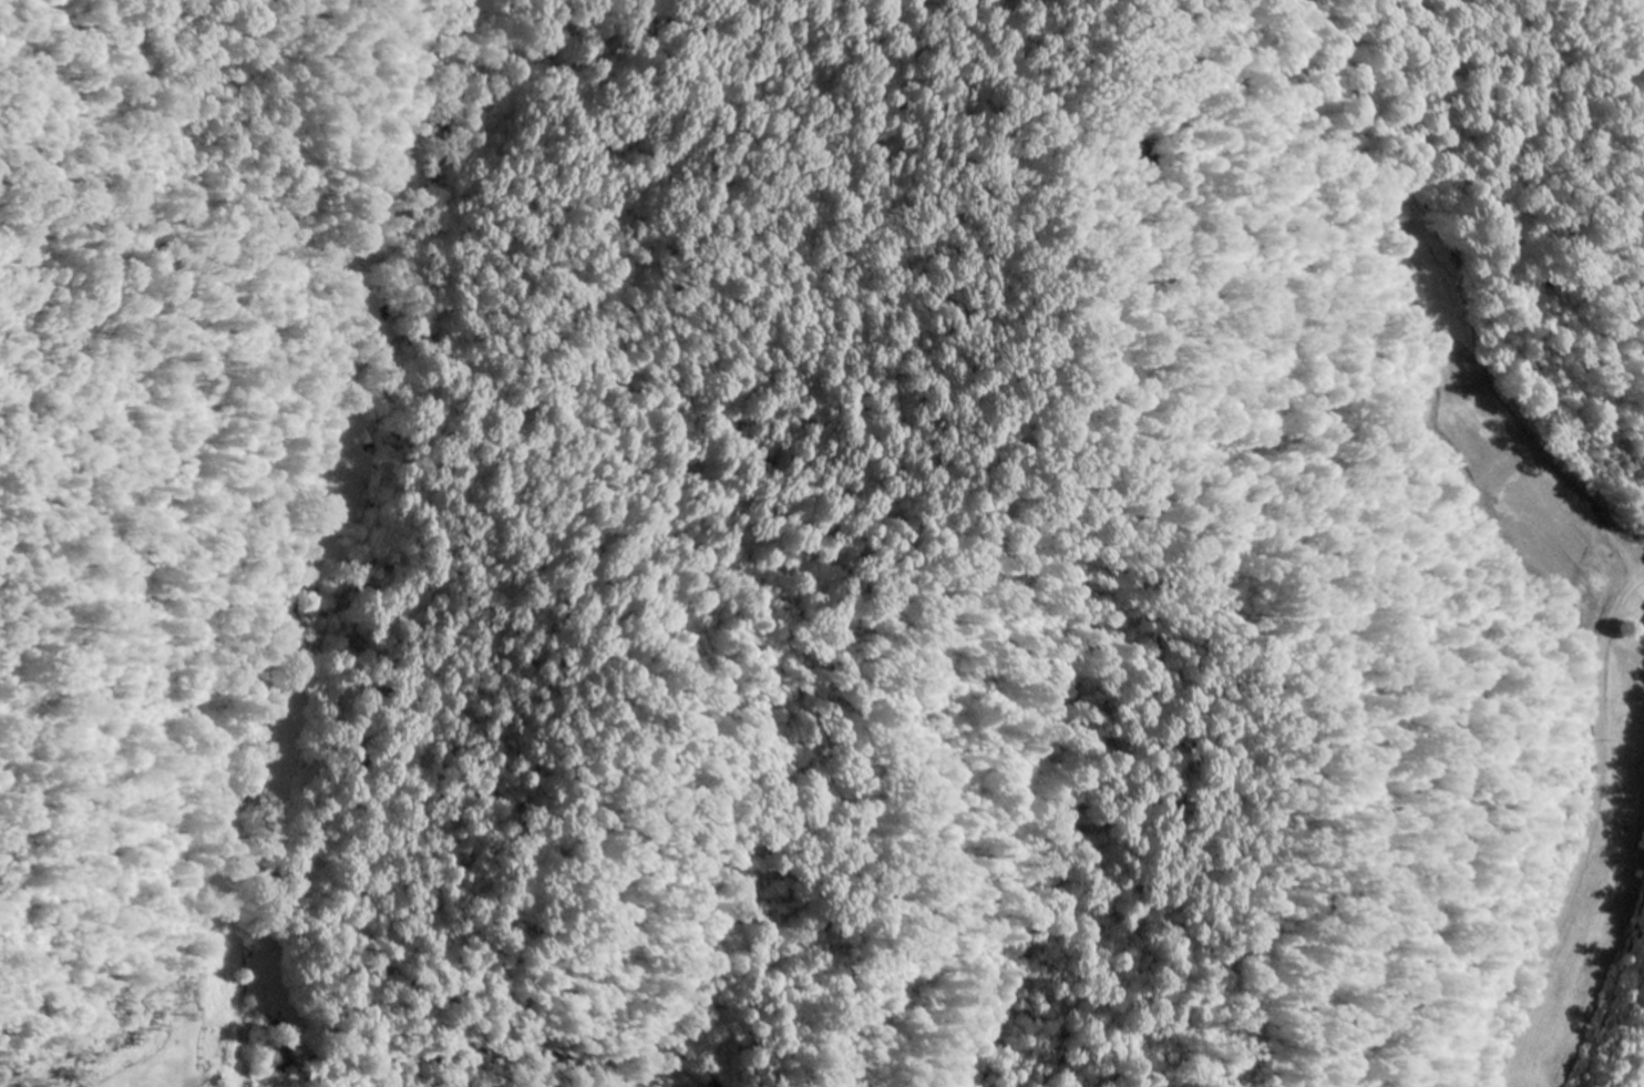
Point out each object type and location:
road: (1595, 834)

